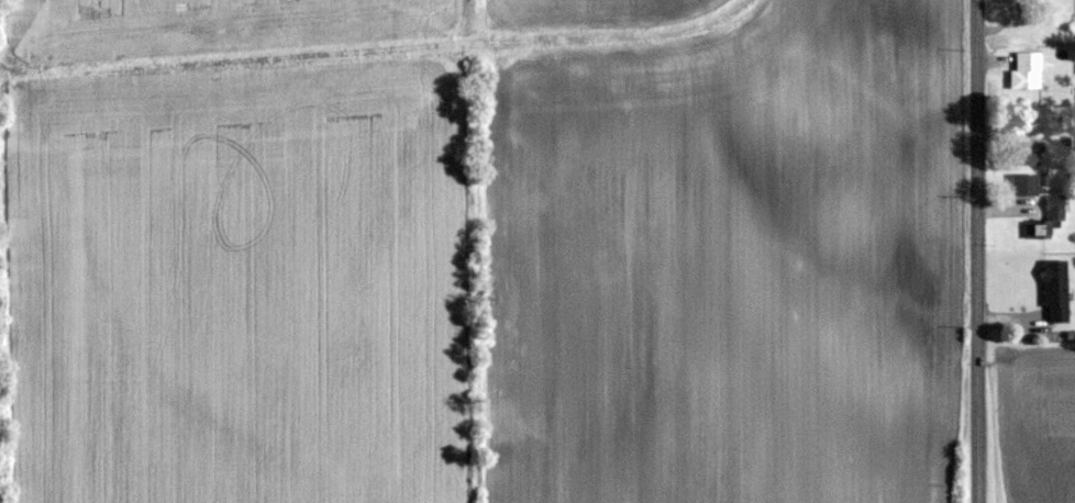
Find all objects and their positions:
building: (1026, 71)
building: (1026, 153)
building: (1023, 185)
building: (1054, 206)
road: (977, 250)
building: (1054, 291)

